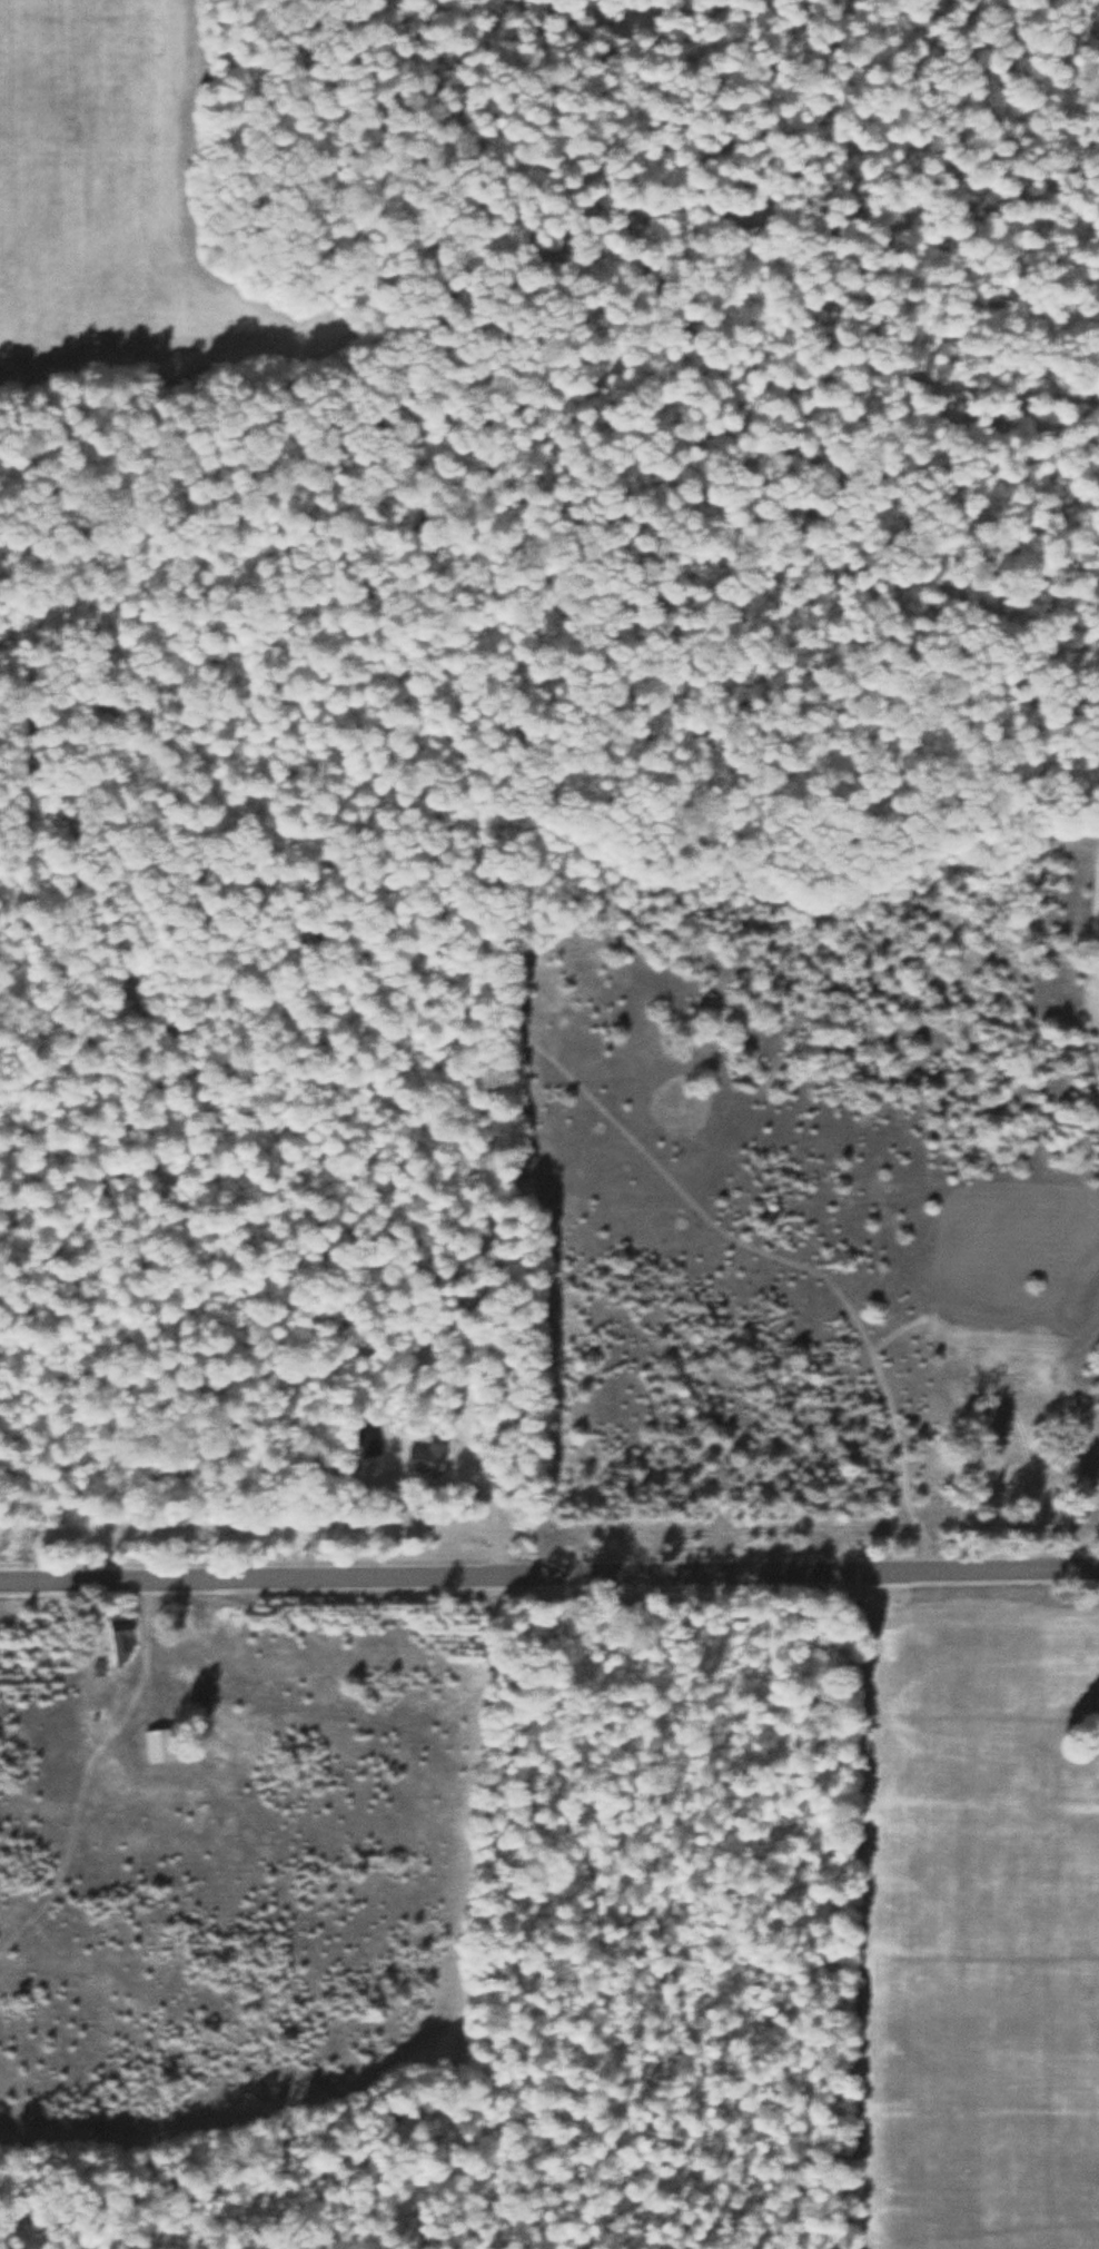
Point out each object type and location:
building: (1010, 1388)
building: (424, 1457)
building: (987, 1489)
building: (1066, 1529)
road: (549, 1573)
building: (119, 1636)
building: (157, 1743)

